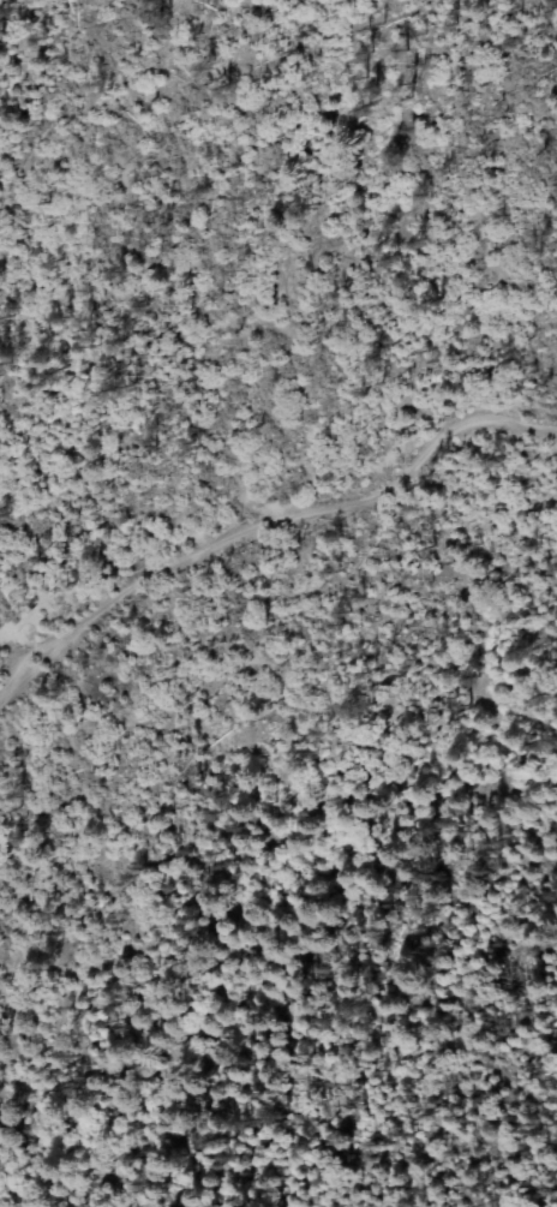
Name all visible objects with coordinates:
road: (250, 520)

